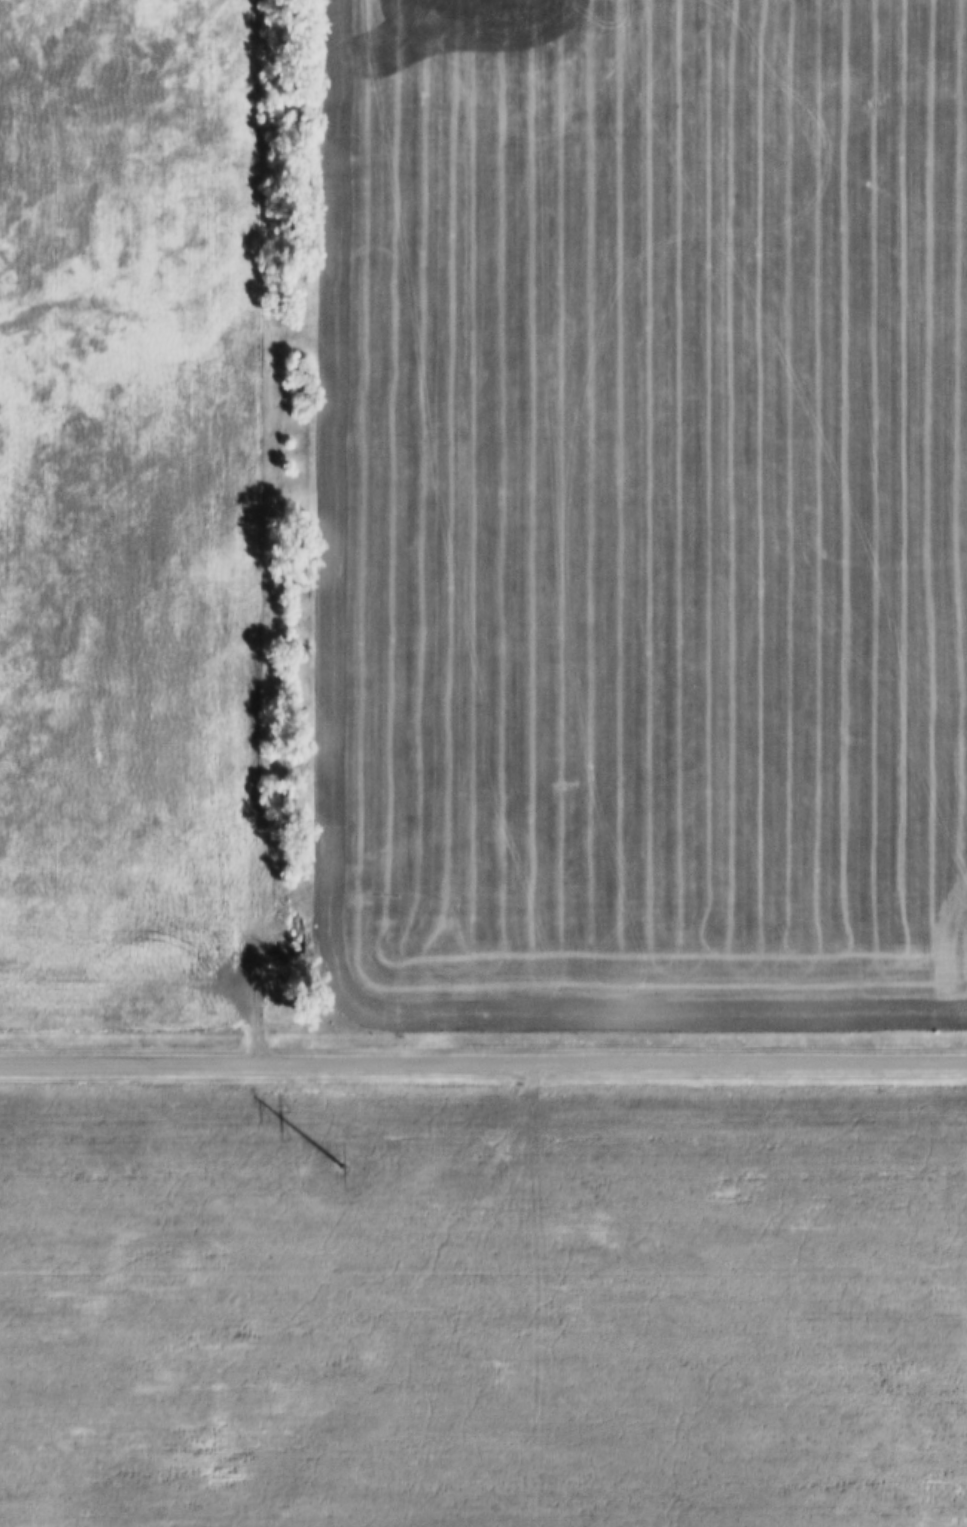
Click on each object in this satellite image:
road: (483, 1059)
power tower: (344, 1160)

